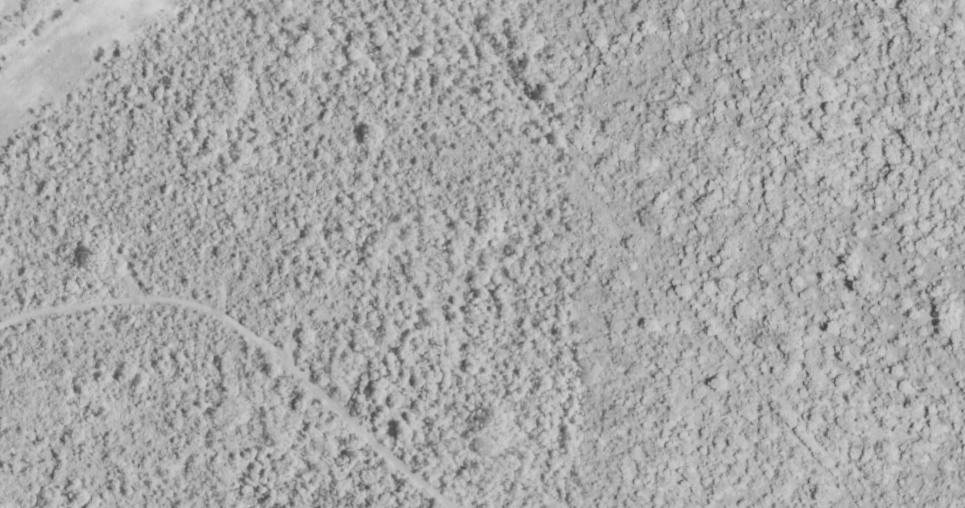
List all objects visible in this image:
road: (290, 321)

